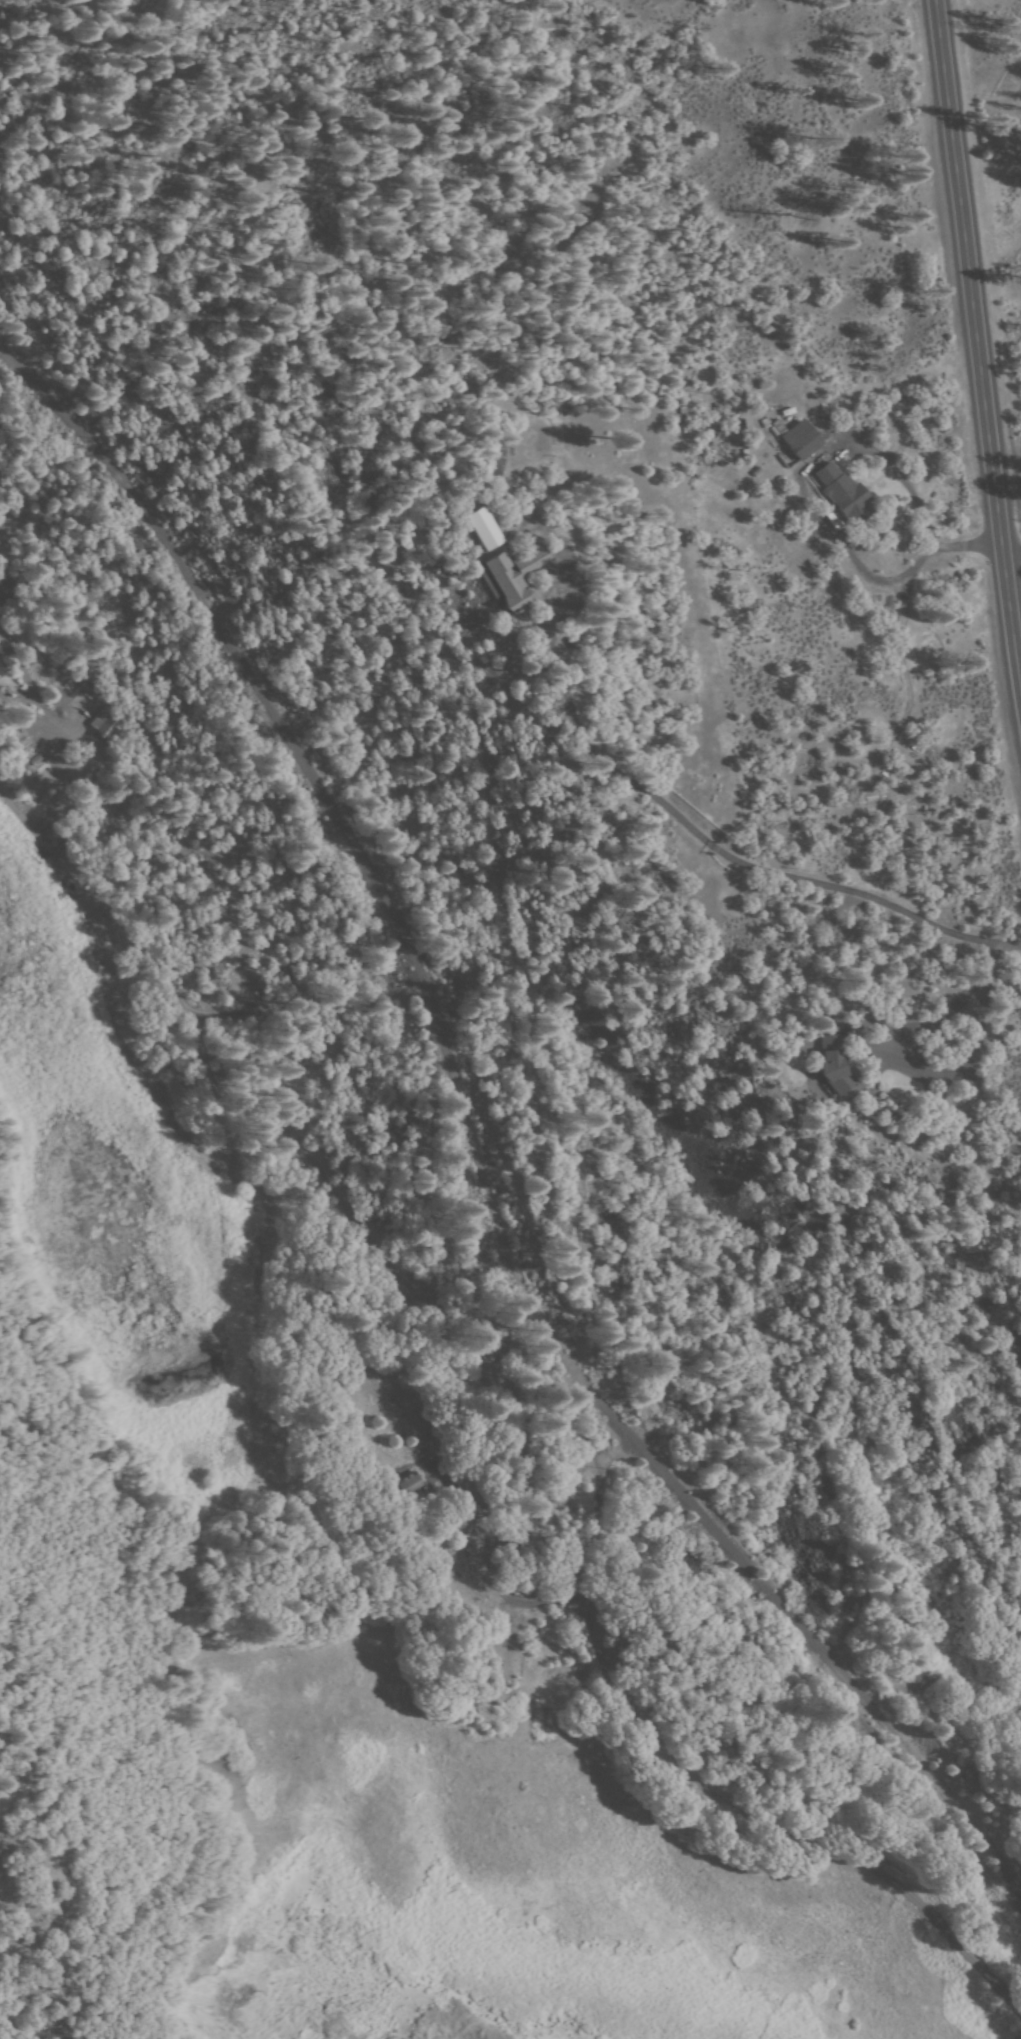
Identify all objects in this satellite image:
road: (978, 336)
building: (797, 437)
building: (498, 457)
building: (844, 494)
building: (487, 528)
building: (513, 577)
building: (3, 594)
building: (103, 723)
building: (834, 1063)
building: (413, 1485)
park: (681, 1663)

